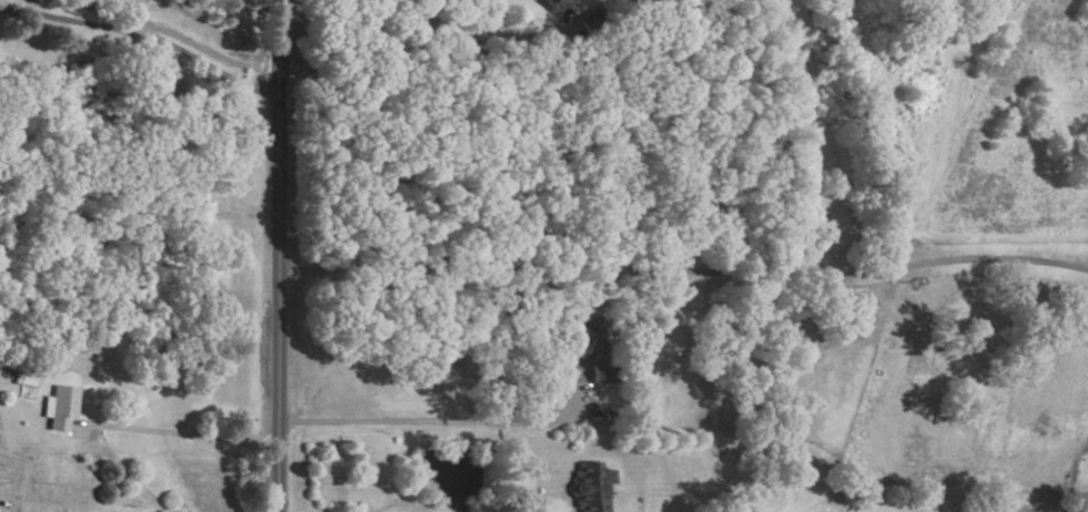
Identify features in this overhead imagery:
building: (549, 4)
road: (103, 18)
building: (587, 22)
road: (143, 38)
road: (417, 39)
road: (278, 256)
road: (683, 273)
building: (582, 341)
building: (601, 376)
building: (61, 407)
road: (433, 422)
road: (182, 432)
building: (587, 489)
road: (403, 511)

